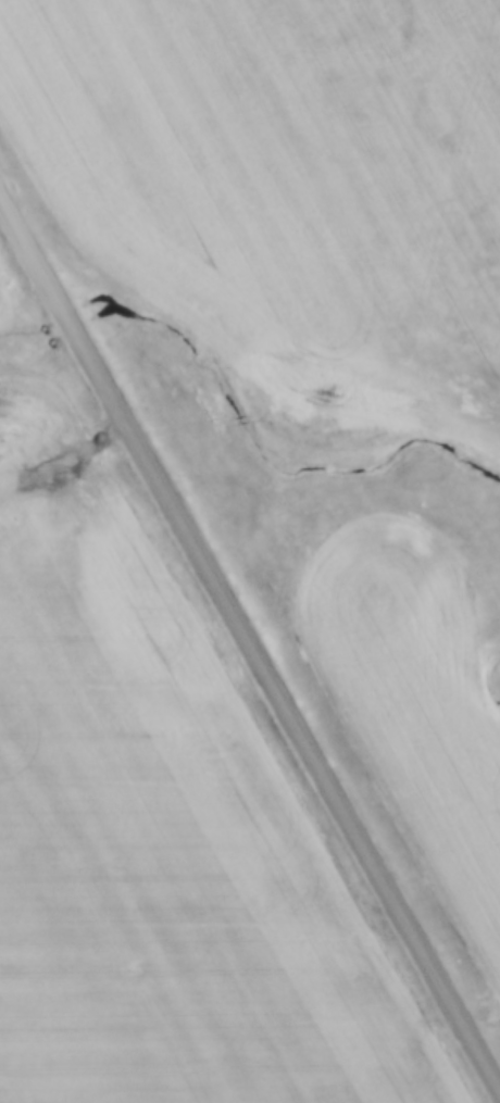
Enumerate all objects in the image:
road: (249, 638)

